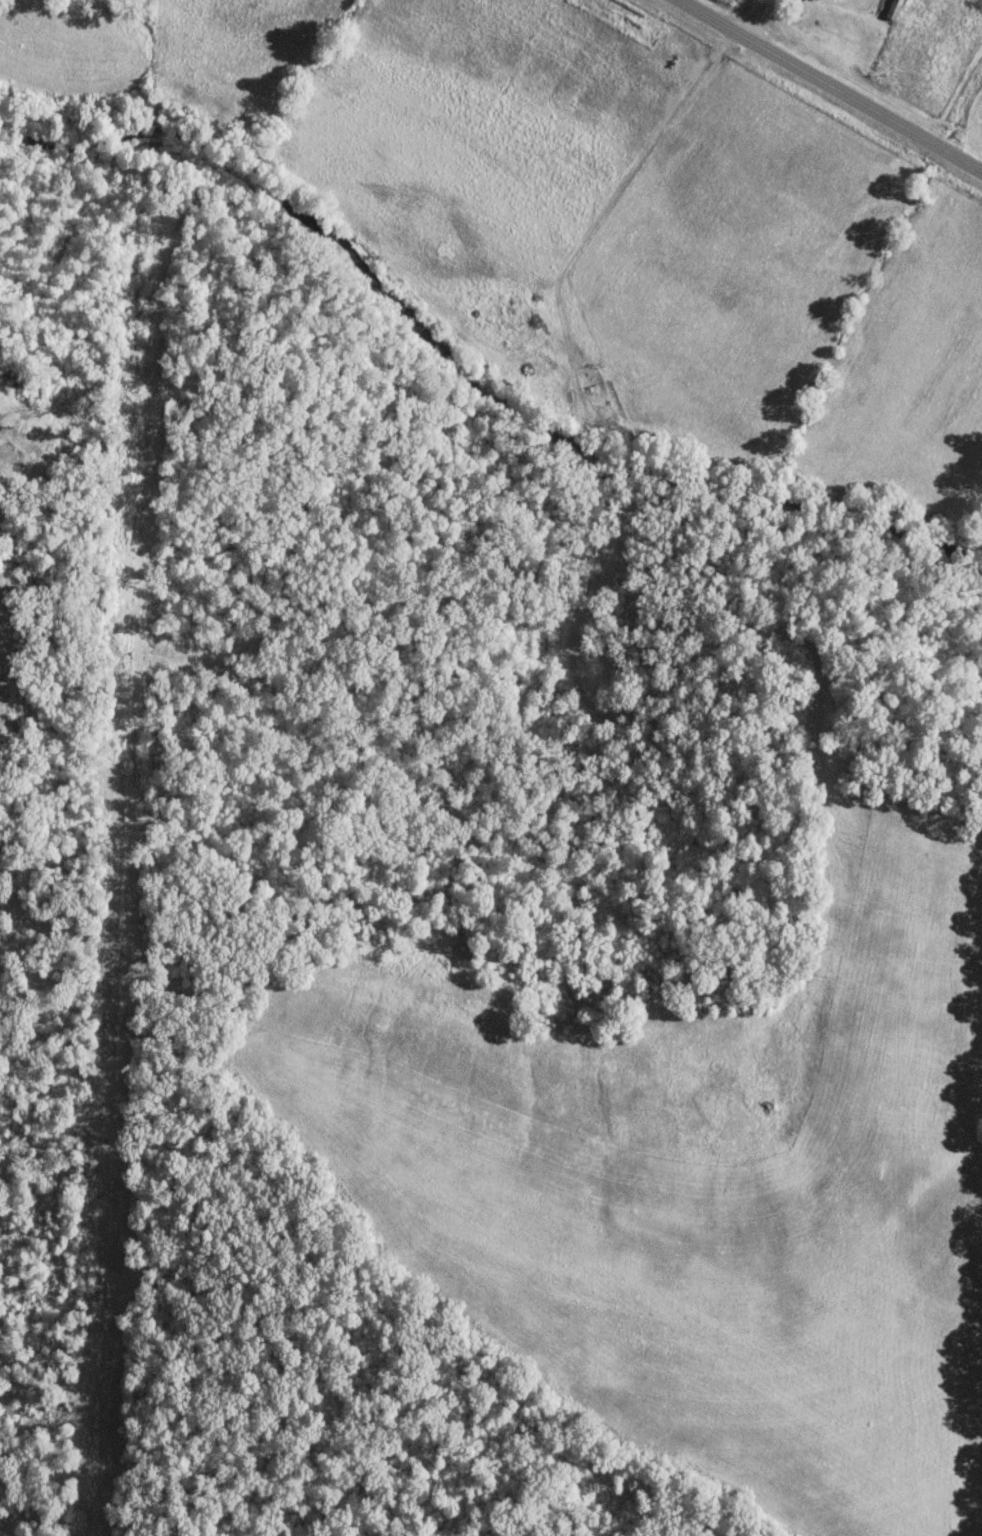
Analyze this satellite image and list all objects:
building: (895, 9)
road: (832, 86)

